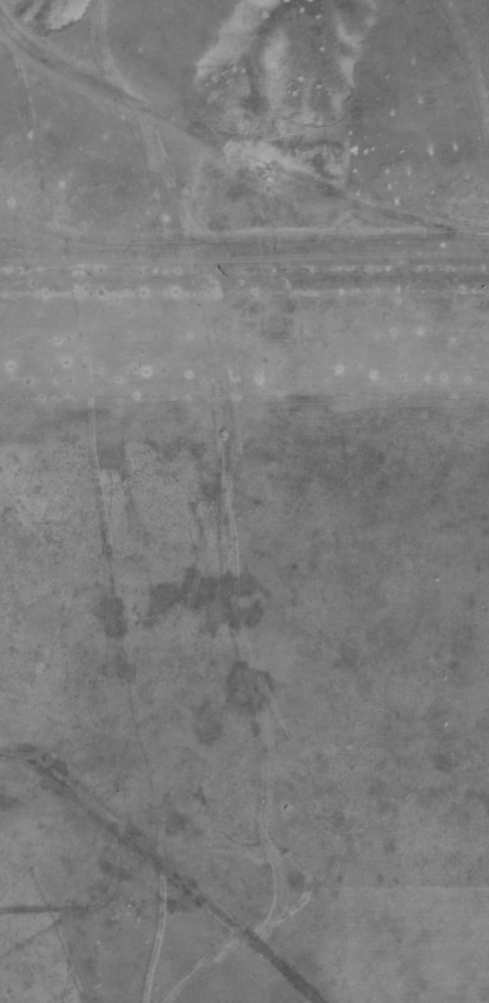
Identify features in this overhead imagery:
road: (243, 140)

